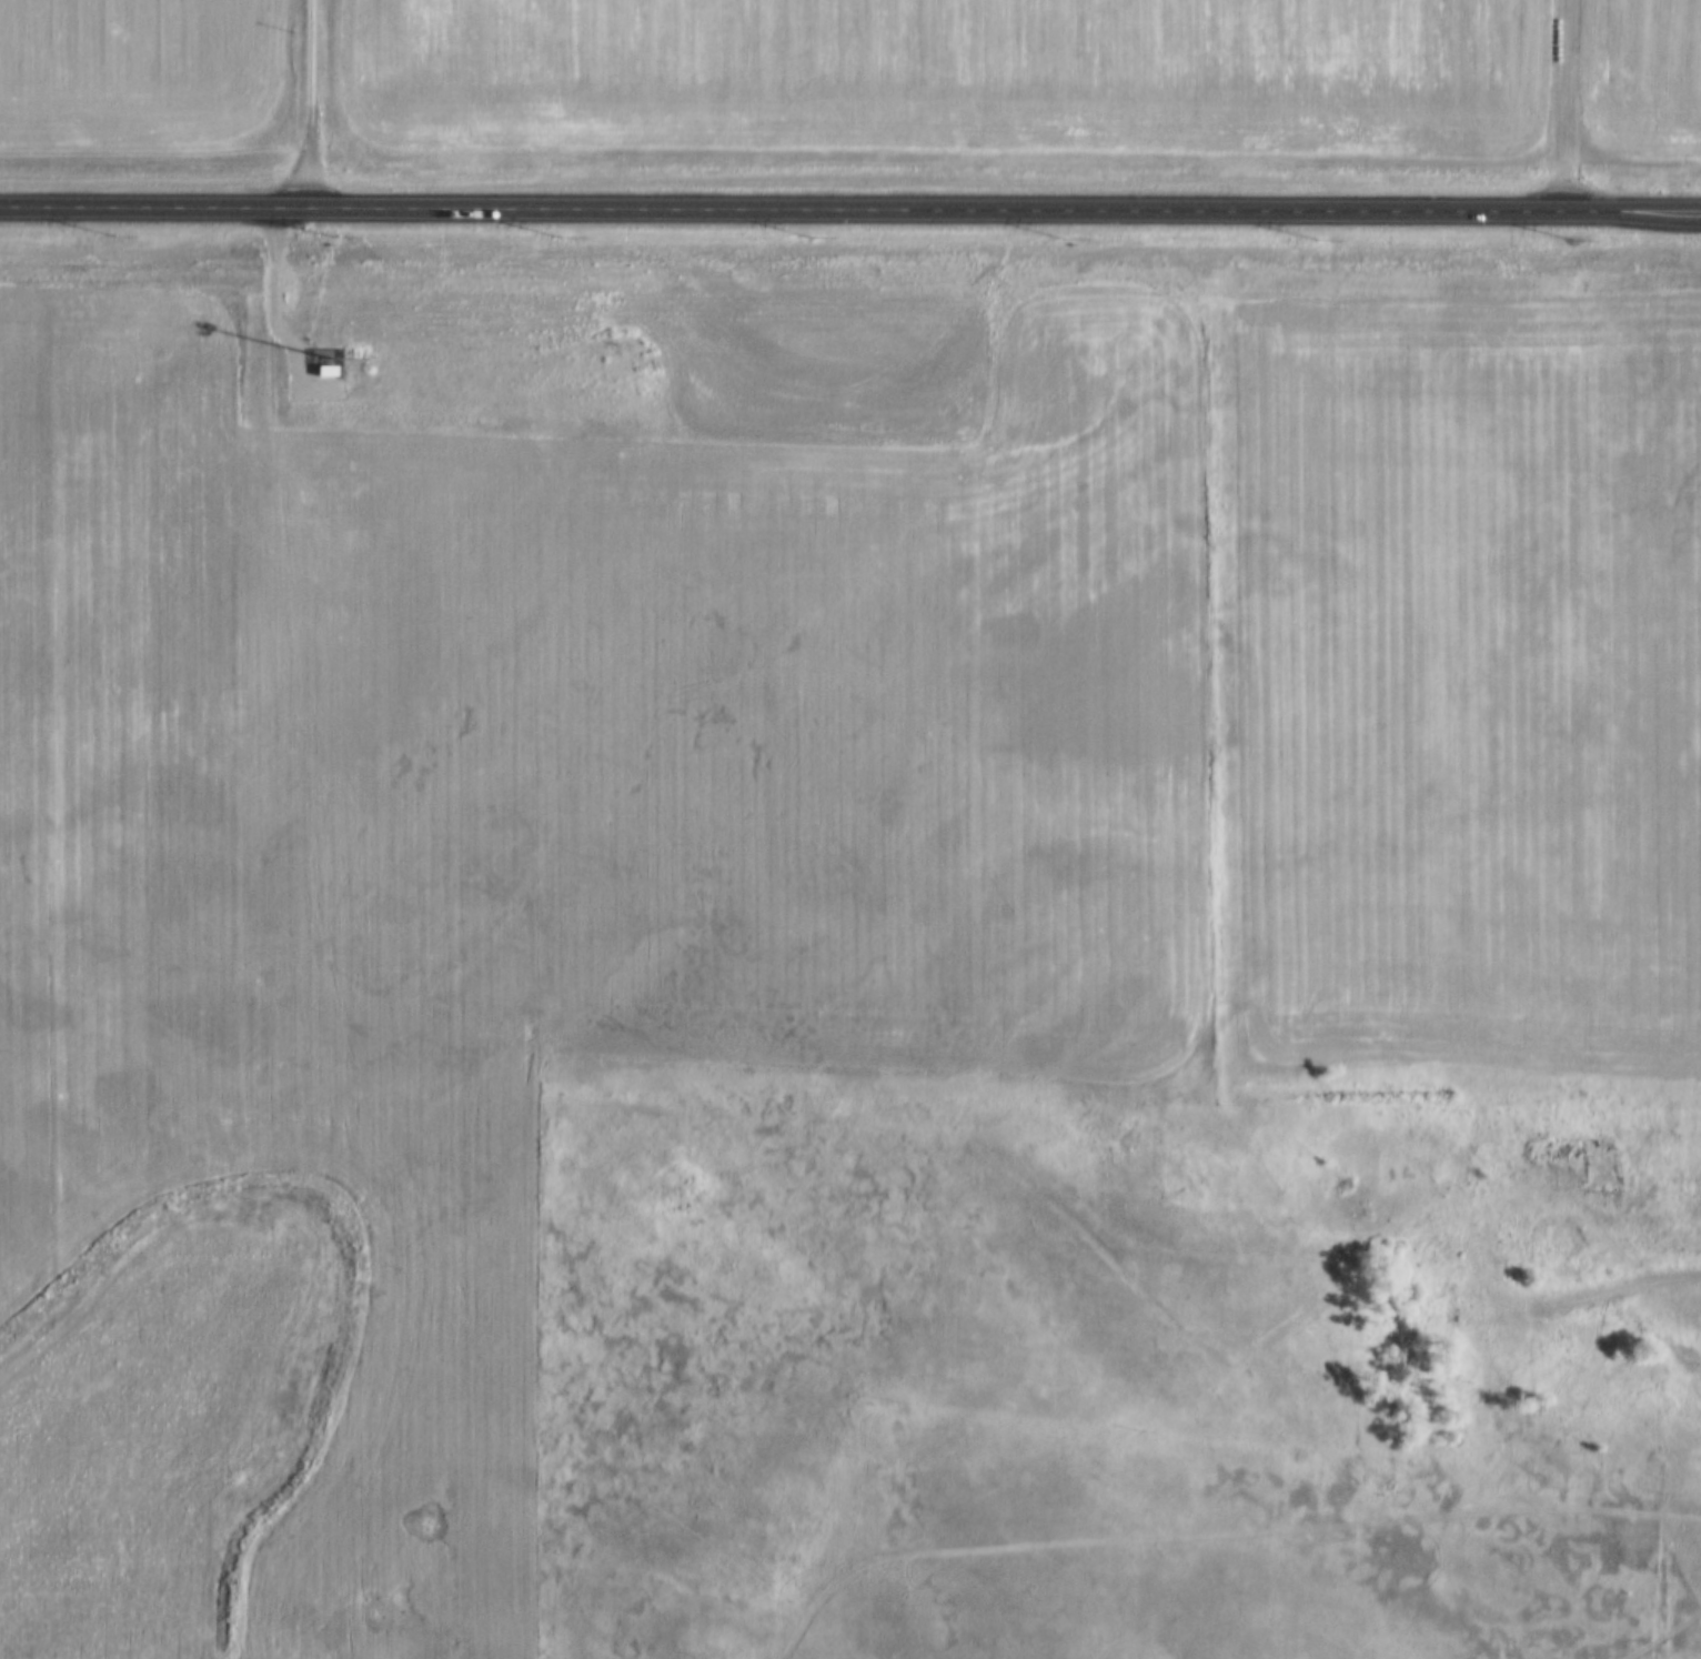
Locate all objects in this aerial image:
road: (1614, 105)
road: (311, 107)
road: (849, 212)
road: (1514, 1200)
road: (1680, 1280)

